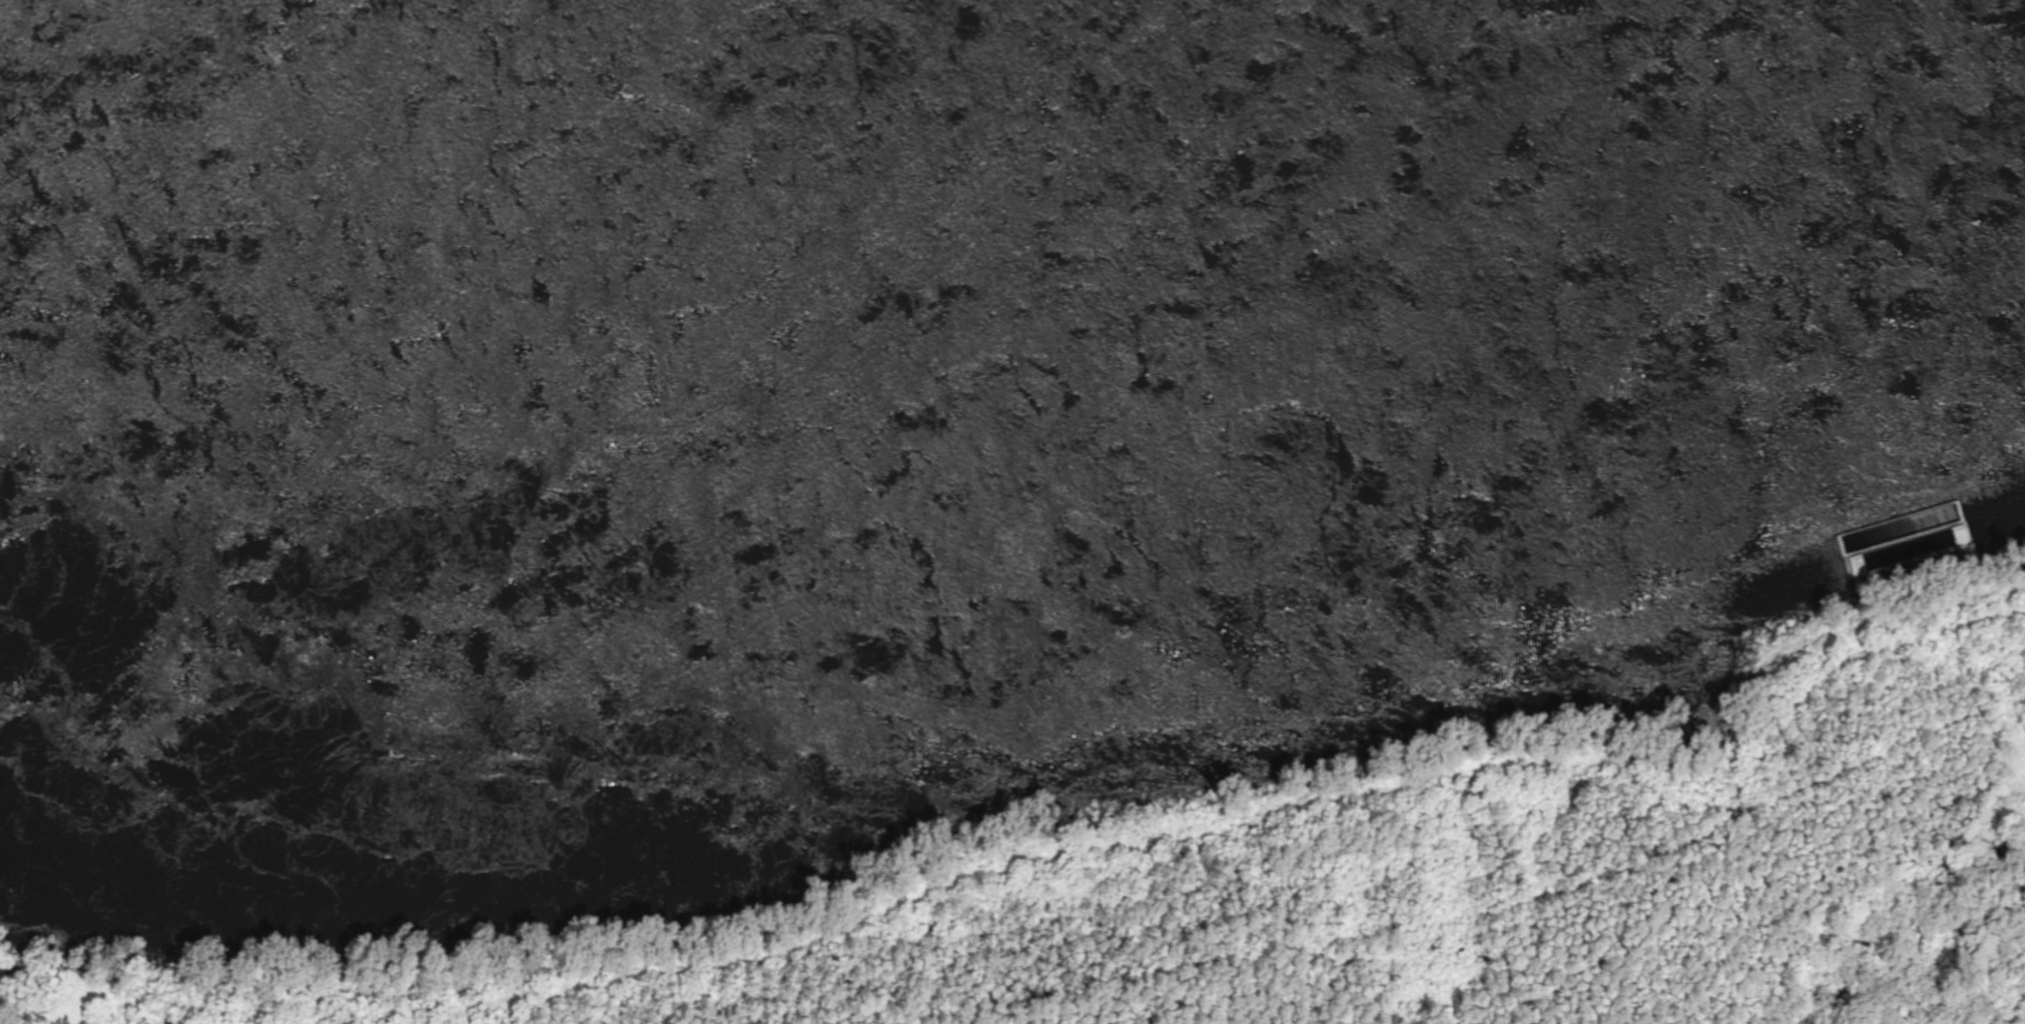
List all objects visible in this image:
river: (52, 18)
road: (1426, 843)

